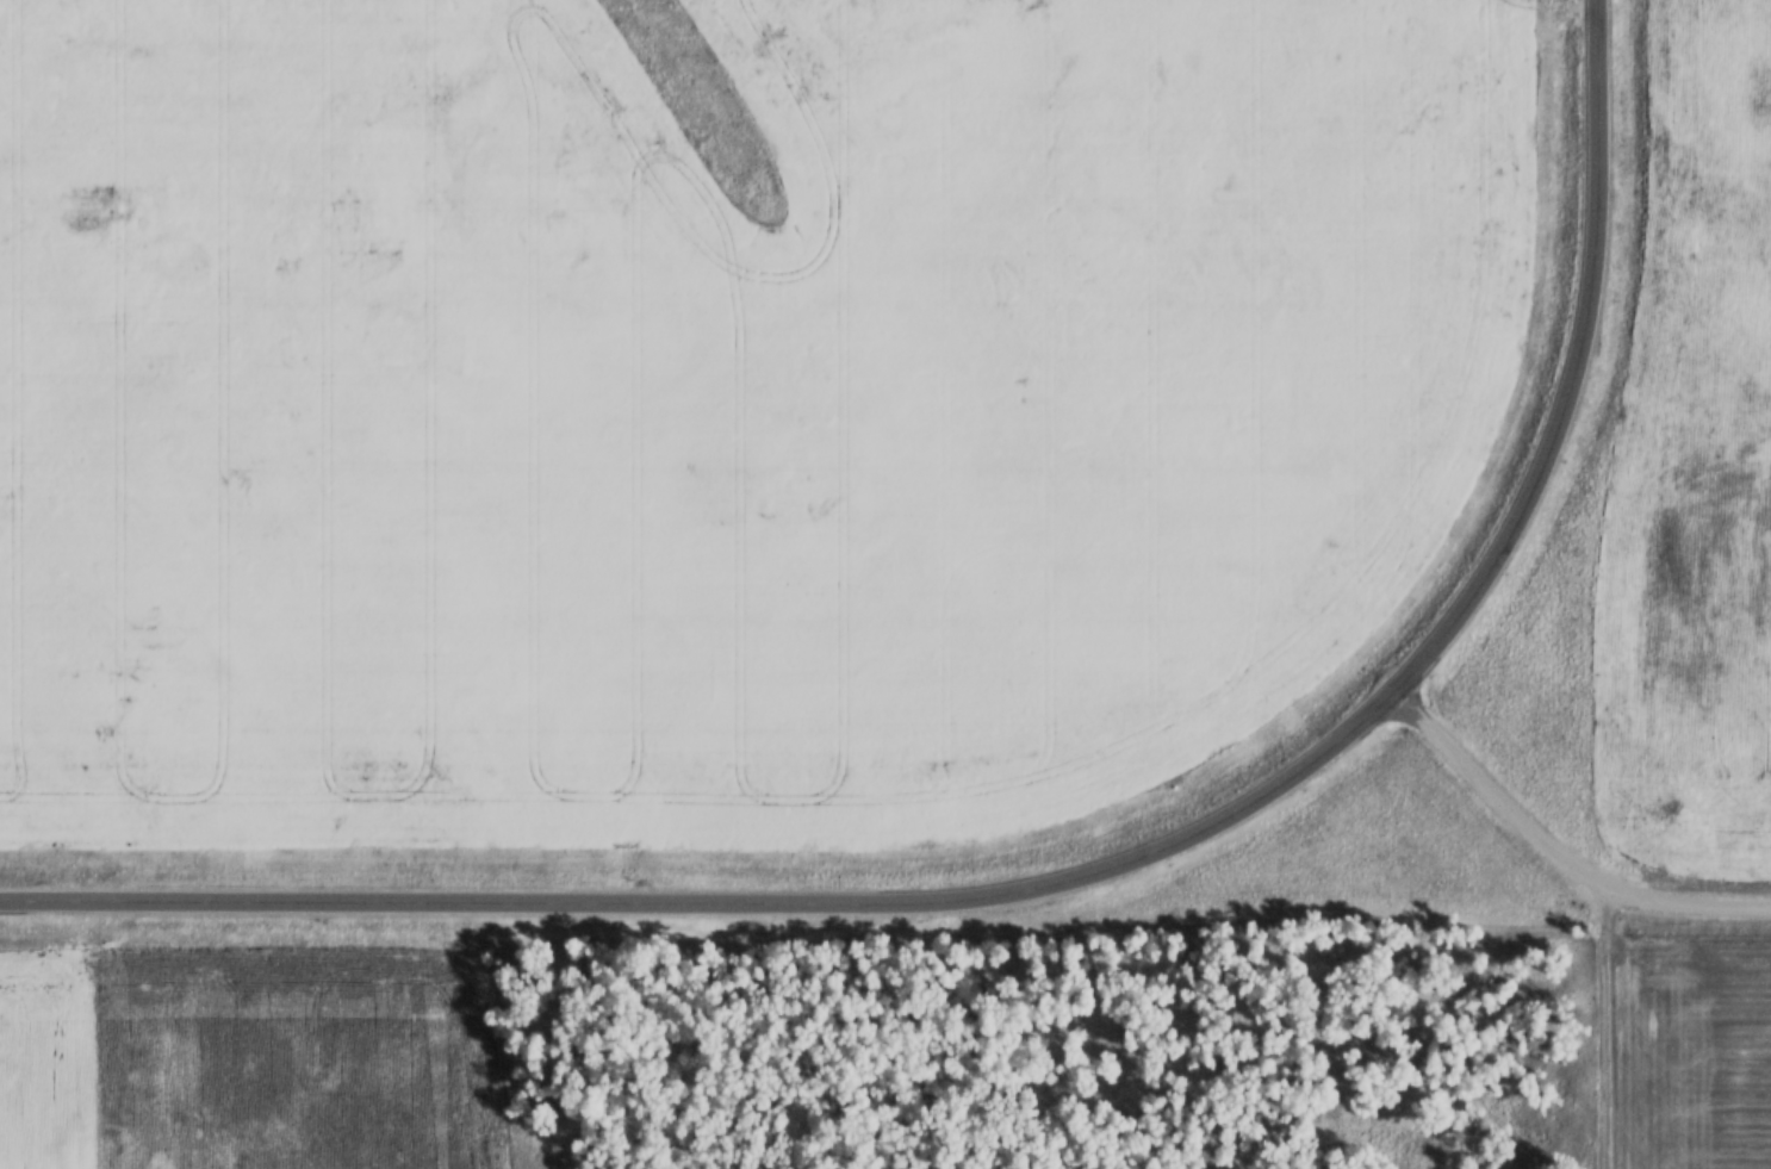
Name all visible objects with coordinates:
road: (1554, 852)
road: (1094, 872)

